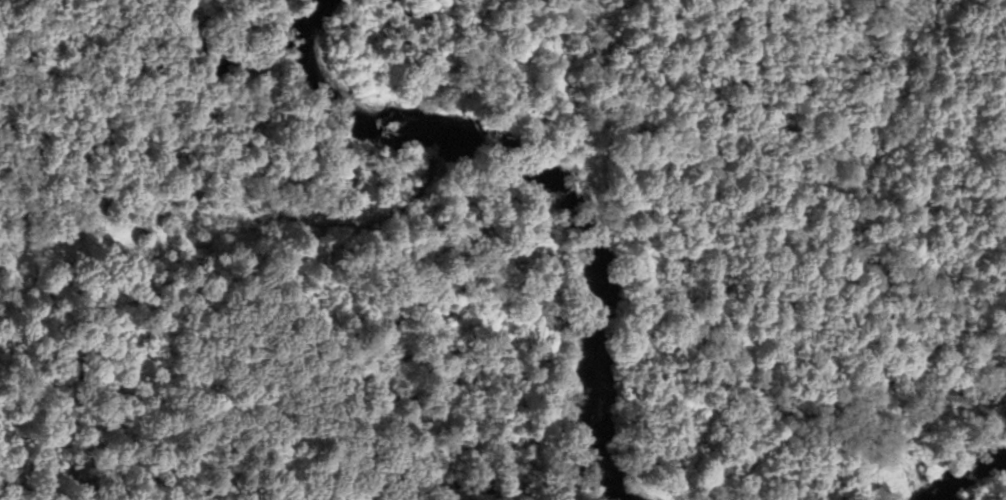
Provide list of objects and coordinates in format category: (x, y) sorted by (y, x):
river: (588, 182)
river: (939, 457)

